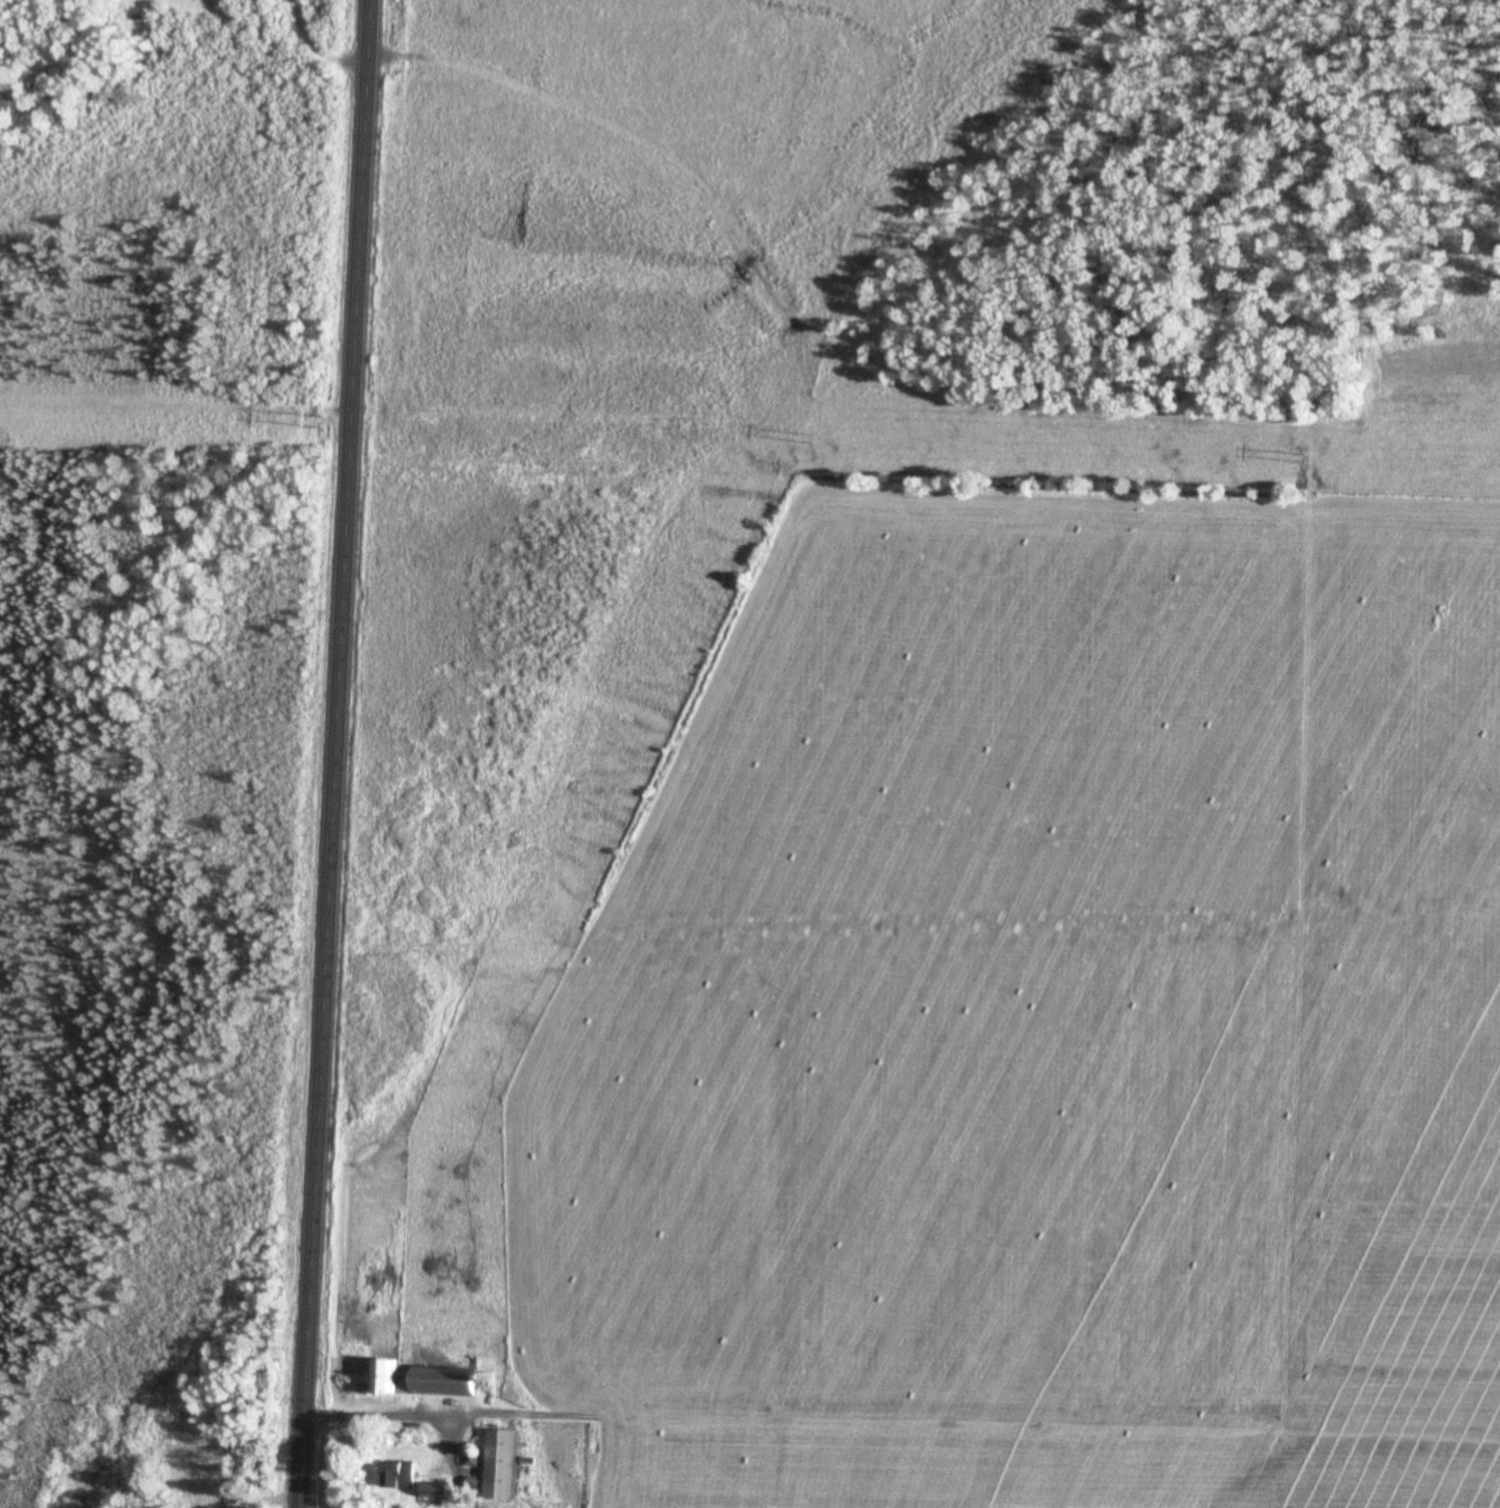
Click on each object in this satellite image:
road: (298, 51)
road: (155, 142)
road: (338, 754)
building: (426, 1384)
road: (444, 1418)
road: (458, 1463)
building: (505, 1467)
building: (402, 1477)

